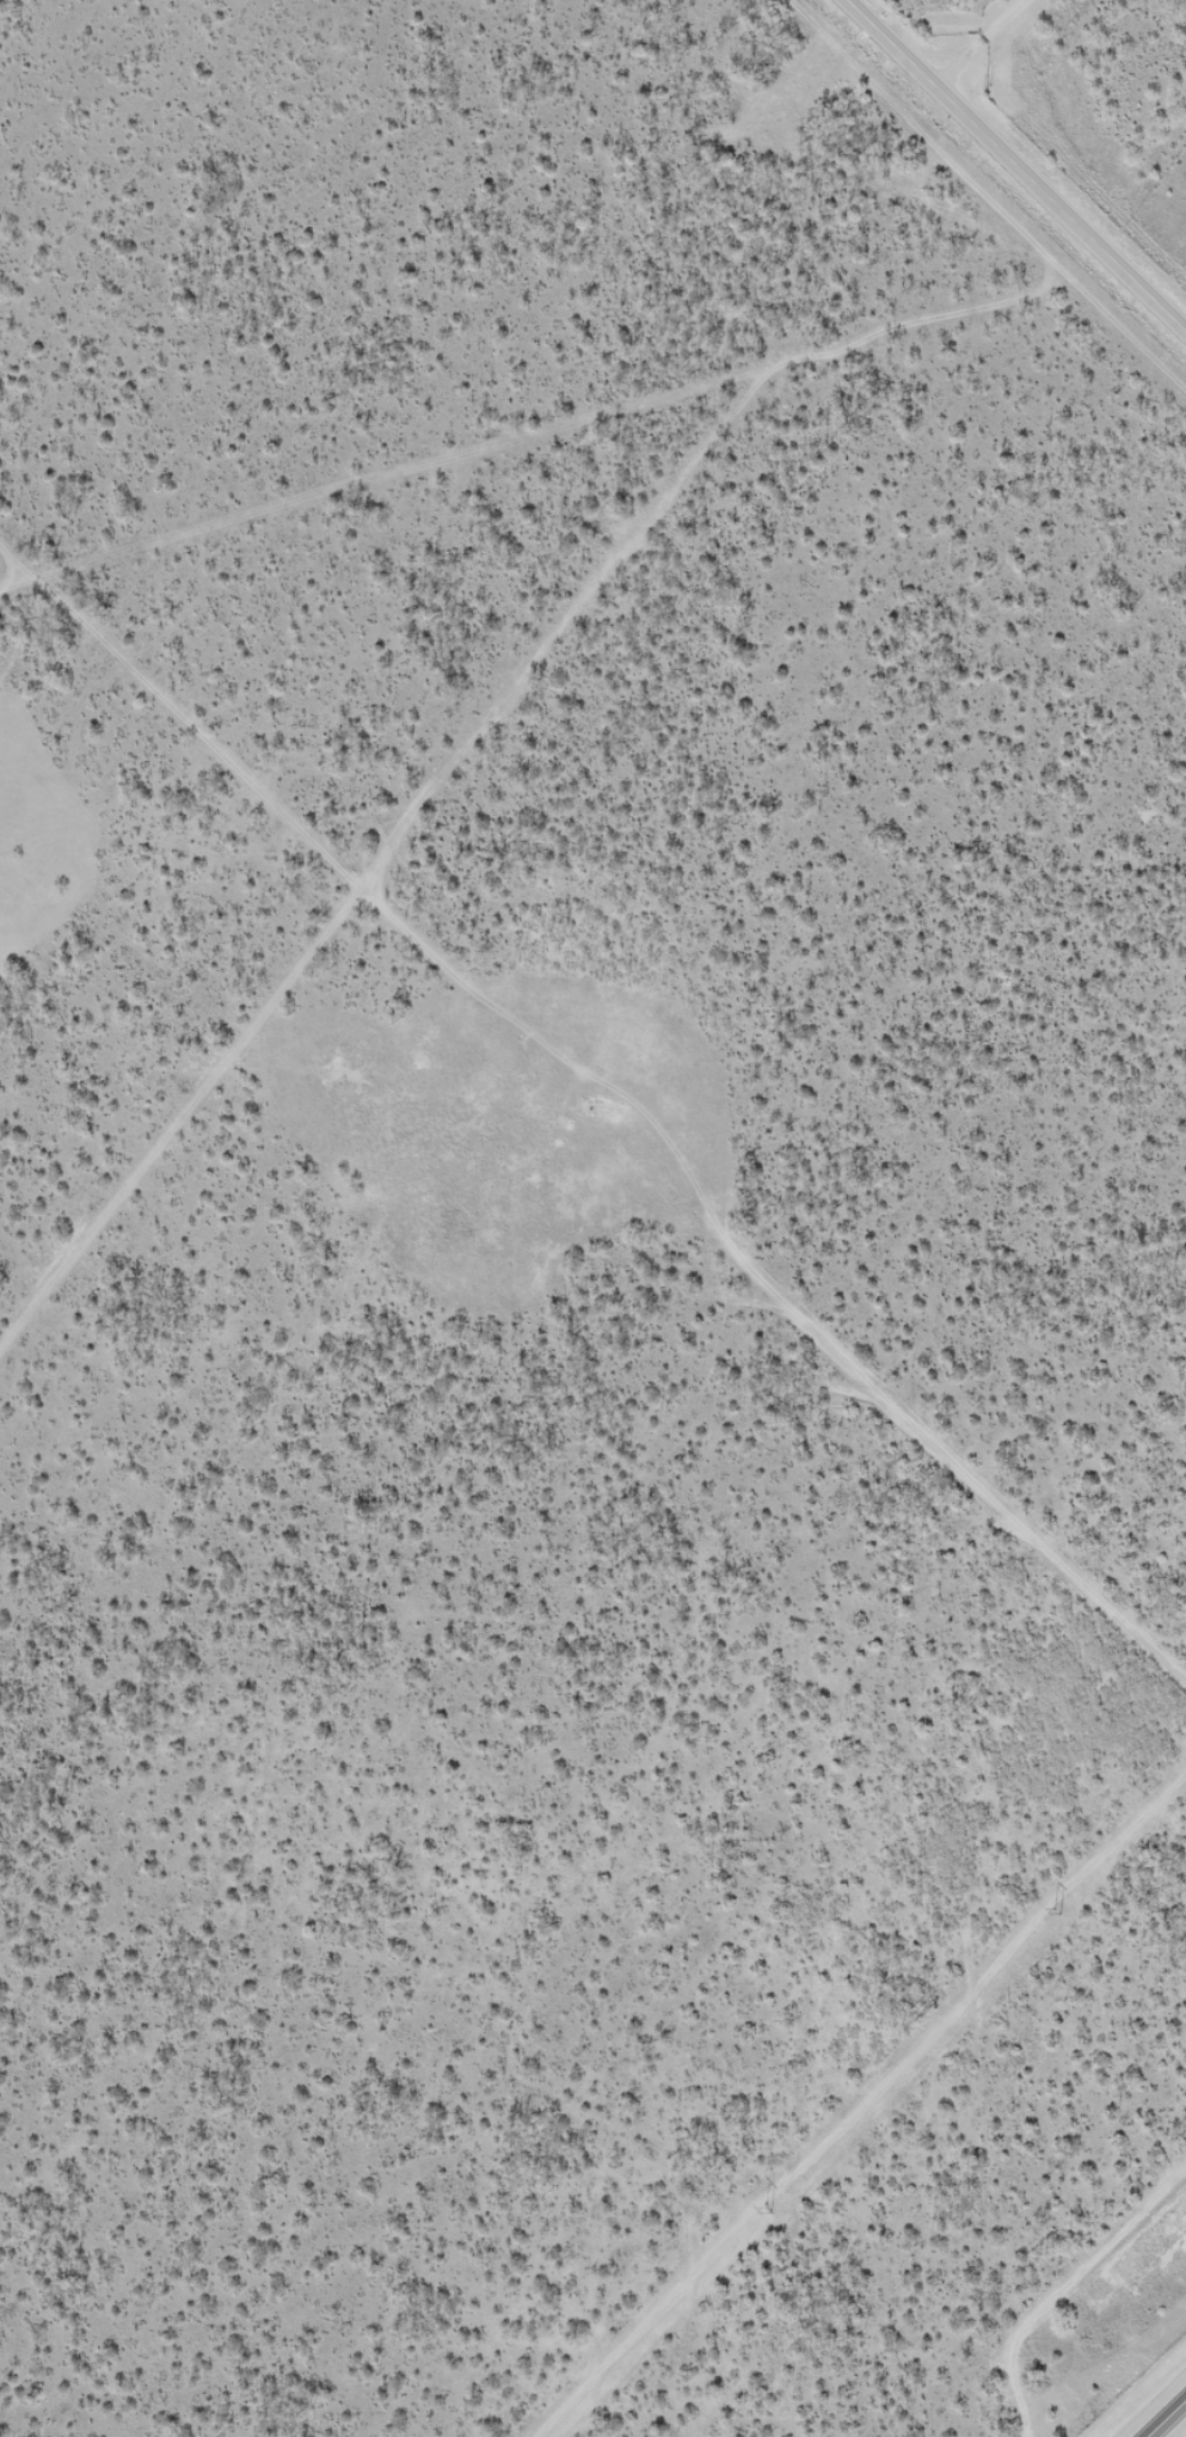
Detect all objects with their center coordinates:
road: (910, 62)
road: (1038, 62)
road: (1081, 228)
power tower: (1056, 1913)
power tower: (767, 2211)
road: (1167, 2418)

